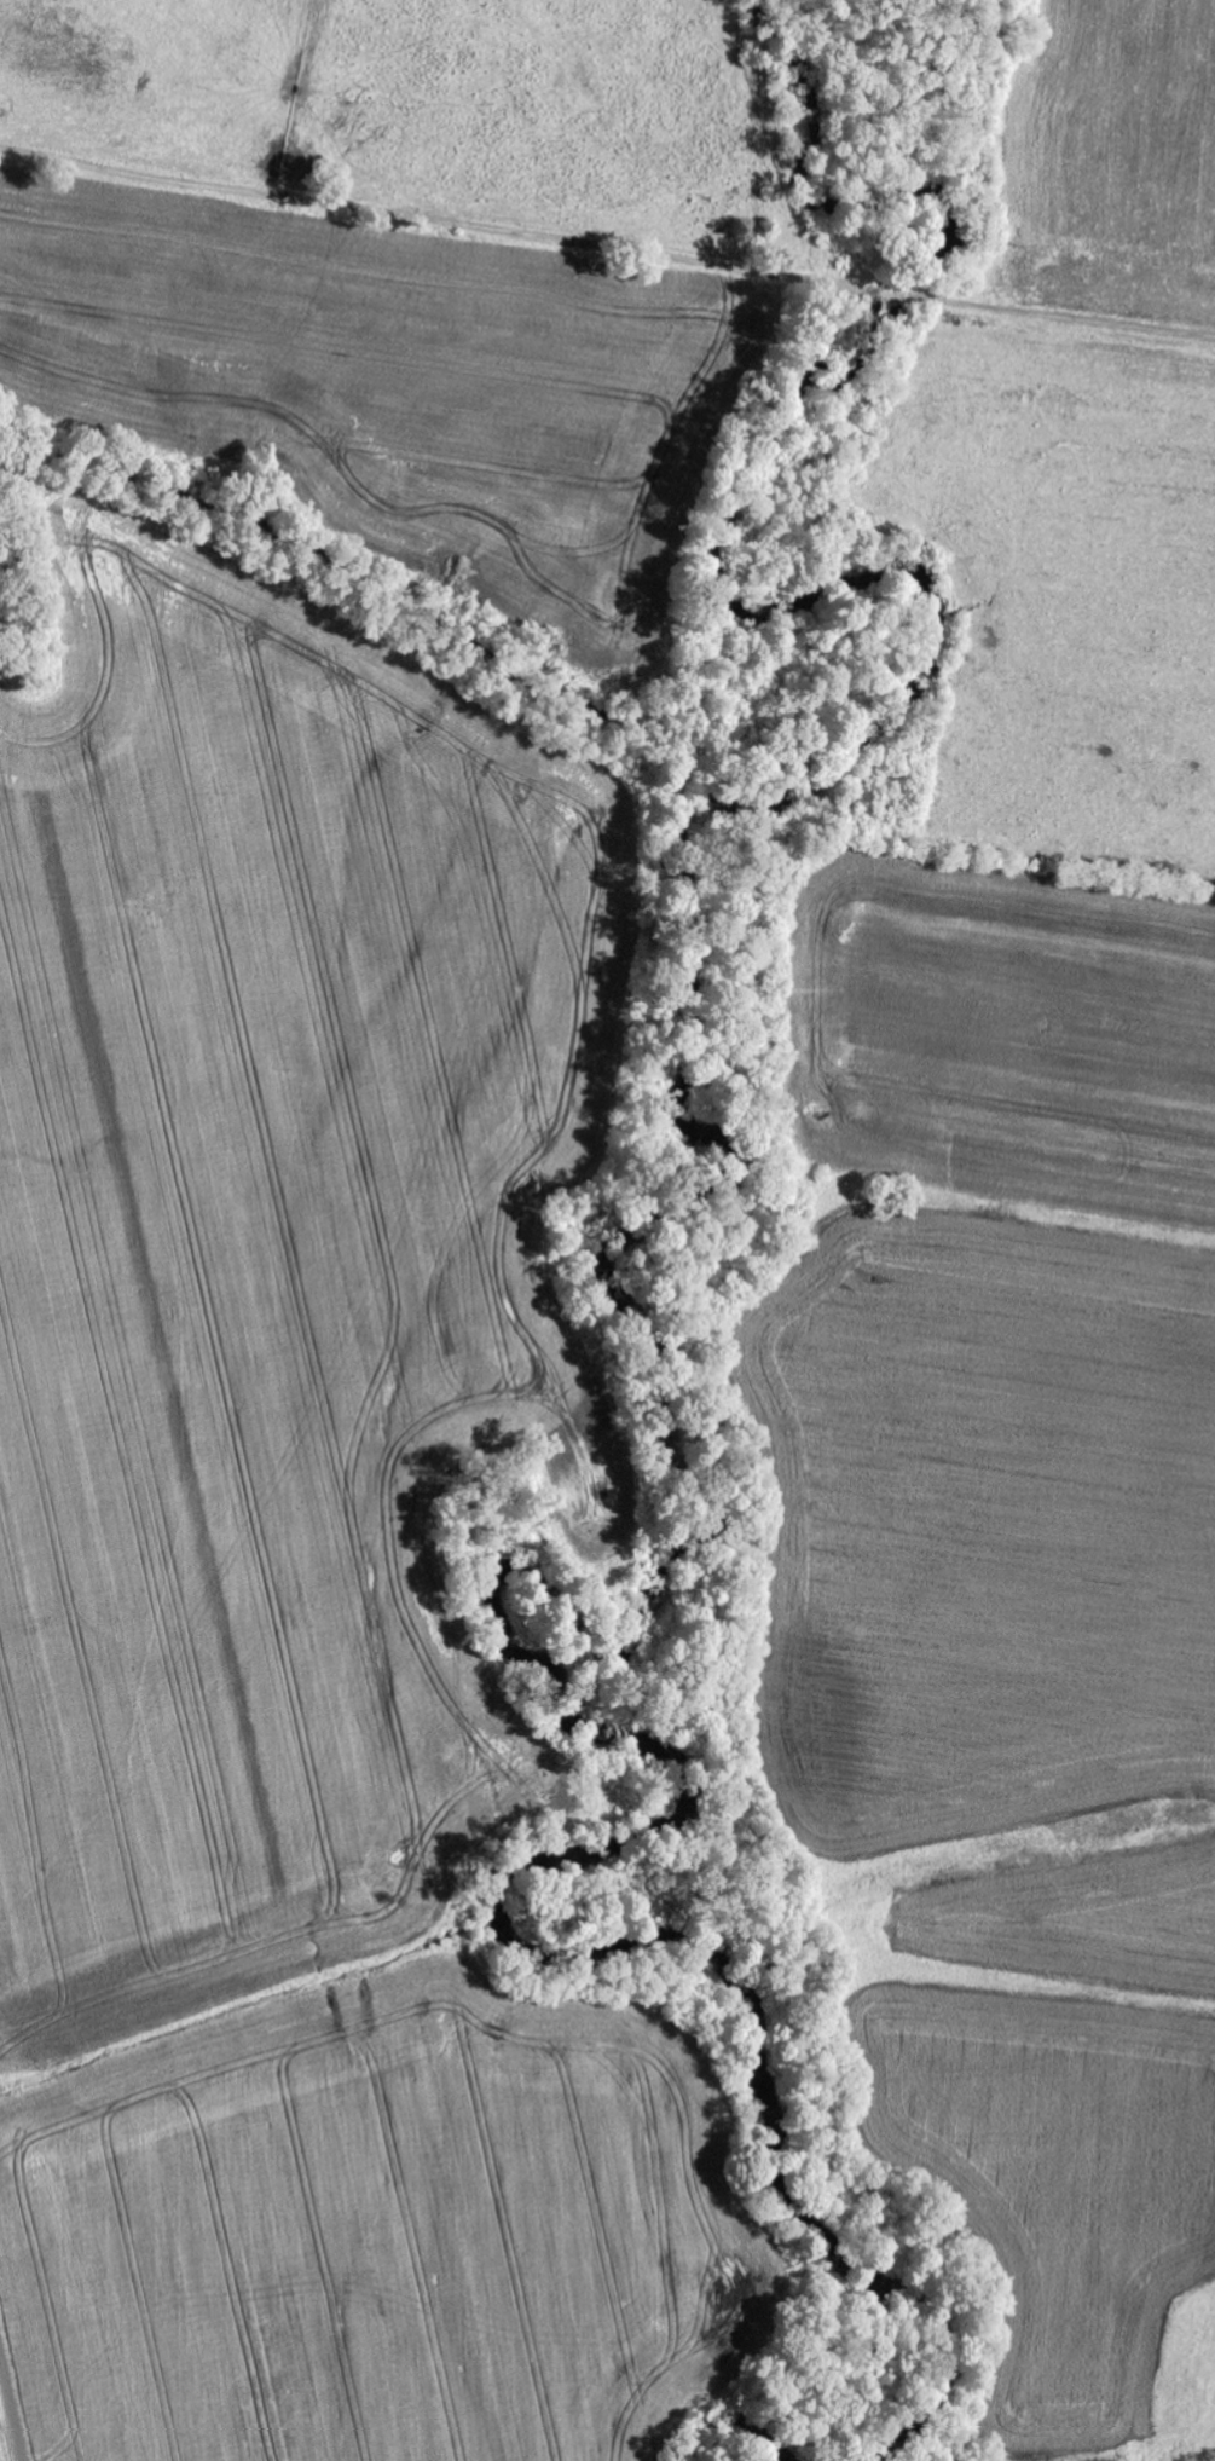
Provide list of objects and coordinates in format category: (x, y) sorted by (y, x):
road: (606, 249)
river: (649, 1772)
road: (10, 2410)

